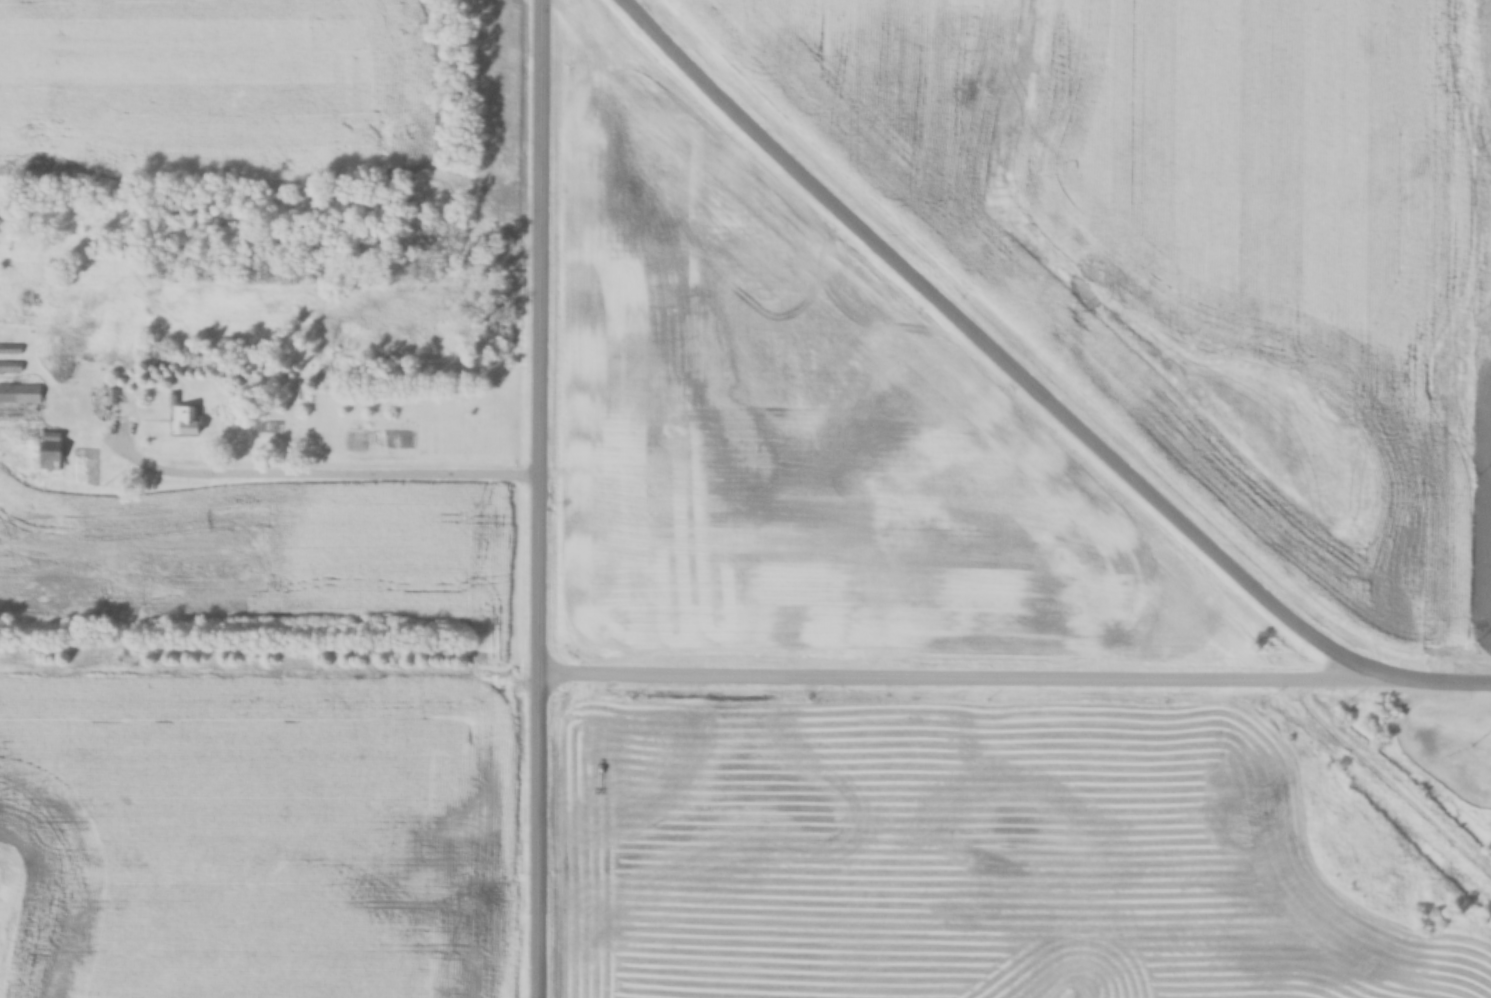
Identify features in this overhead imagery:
road: (1004, 355)
building: (21, 394)
building: (188, 421)
building: (51, 451)
road: (329, 473)
road: (543, 499)
road: (1017, 680)

